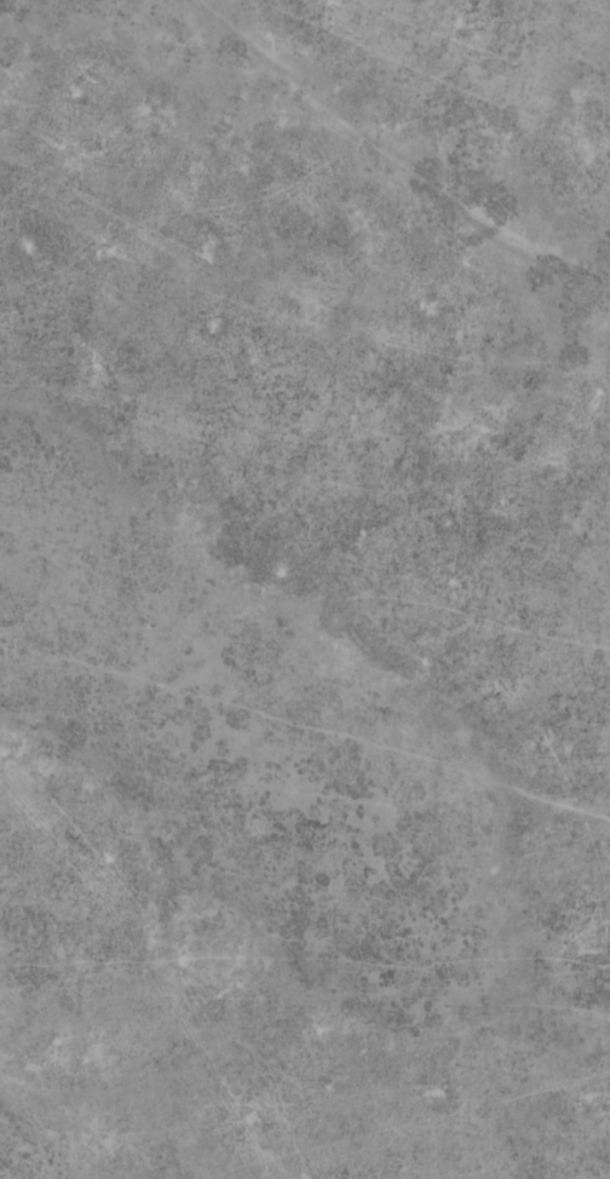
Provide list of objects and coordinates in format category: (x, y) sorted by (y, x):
road: (97, 815)
road: (501, 1011)

